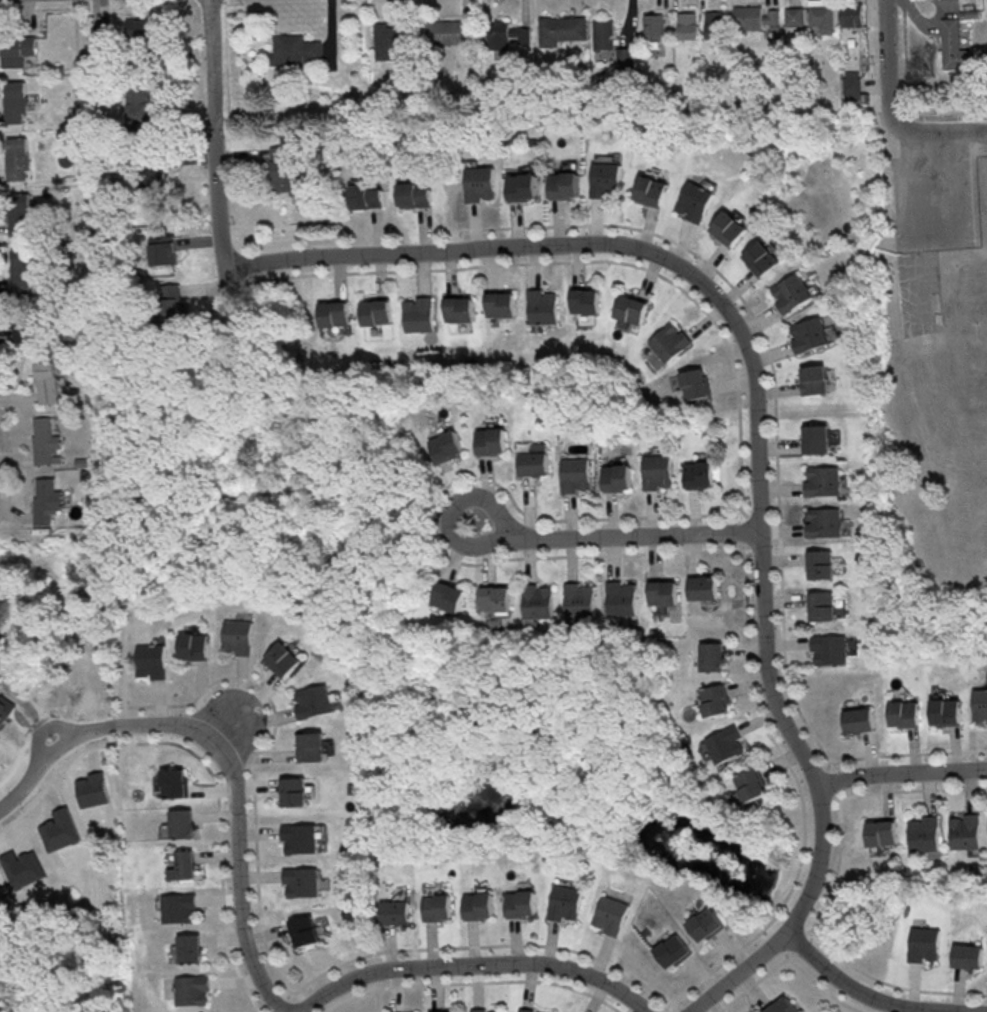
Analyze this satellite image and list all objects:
building: (794, 16)
building: (820, 16)
building: (747, 17)
building: (714, 24)
building: (686, 25)
building: (652, 26)
building: (143, 27)
building: (560, 29)
building: (449, 31)
building: (602, 34)
building: (505, 35)
building: (100, 37)
building: (388, 39)
building: (953, 45)
building: (15, 50)
building: (293, 50)
building: (623, 57)
road: (887, 59)
building: (851, 85)
road: (905, 96)
building: (14, 101)
building: (137, 105)
road: (221, 131)
road: (936, 131)
building: (16, 158)
building: (280, 168)
building: (154, 176)
building: (605, 179)
building: (480, 183)
building: (563, 184)
building: (522, 186)
building: (650, 190)
building: (413, 195)
building: (366, 196)
parking lot: (934, 199)
building: (694, 201)
building: (19, 214)
building: (729, 228)
building: (161, 250)
building: (761, 258)
building: (21, 269)
building: (792, 293)
building: (585, 301)
building: (169, 302)
building: (499, 304)
building: (541, 307)
building: (458, 308)
building: (631, 308)
building: (374, 312)
building: (333, 313)
building: (417, 314)
park: (981, 328)
building: (20, 334)
building: (809, 334)
building: (665, 345)
building: (814, 379)
building: (45, 382)
building: (695, 383)
road: (763, 427)
building: (816, 438)
building: (41, 440)
building: (491, 440)
building: (445, 445)
building: (535, 460)
building: (658, 471)
building: (575, 474)
building: (700, 474)
building: (617, 477)
building: (822, 480)
building: (43, 500)
building: (822, 521)
road: (620, 533)
building: (820, 564)
building: (703, 587)
building: (450, 595)
building: (497, 598)
building: (621, 598)
building: (579, 599)
building: (538, 601)
building: (822, 605)
building: (237, 636)
building: (193, 645)
building: (829, 648)
building: (711, 656)
building: (283, 659)
building: (150, 660)
building: (714, 700)
building: (314, 701)
building: (979, 705)
building: (945, 711)
building: (904, 713)
building: (858, 720)
building: (725, 743)
building: (311, 746)
road: (224, 757)
road: (906, 772)
building: (173, 782)
building: (751, 784)
building: (293, 791)
building: (181, 823)
building: (965, 831)
building: (881, 832)
building: (923, 833)
building: (299, 838)
building: (182, 865)
building: (301, 881)
building: (563, 902)
building: (520, 903)
building: (478, 905)
building: (177, 907)
building: (436, 907)
building: (395, 911)
building: (609, 914)
building: (705, 923)
building: (304, 930)
building: (923, 944)
building: (188, 948)
building: (673, 950)
building: (172, 953)
building: (966, 956)
road: (480, 964)
building: (190, 989)
road: (877, 997)
building: (781, 1005)
building: (487, 1010)
building: (447, 1011)
building: (532, 1011)

